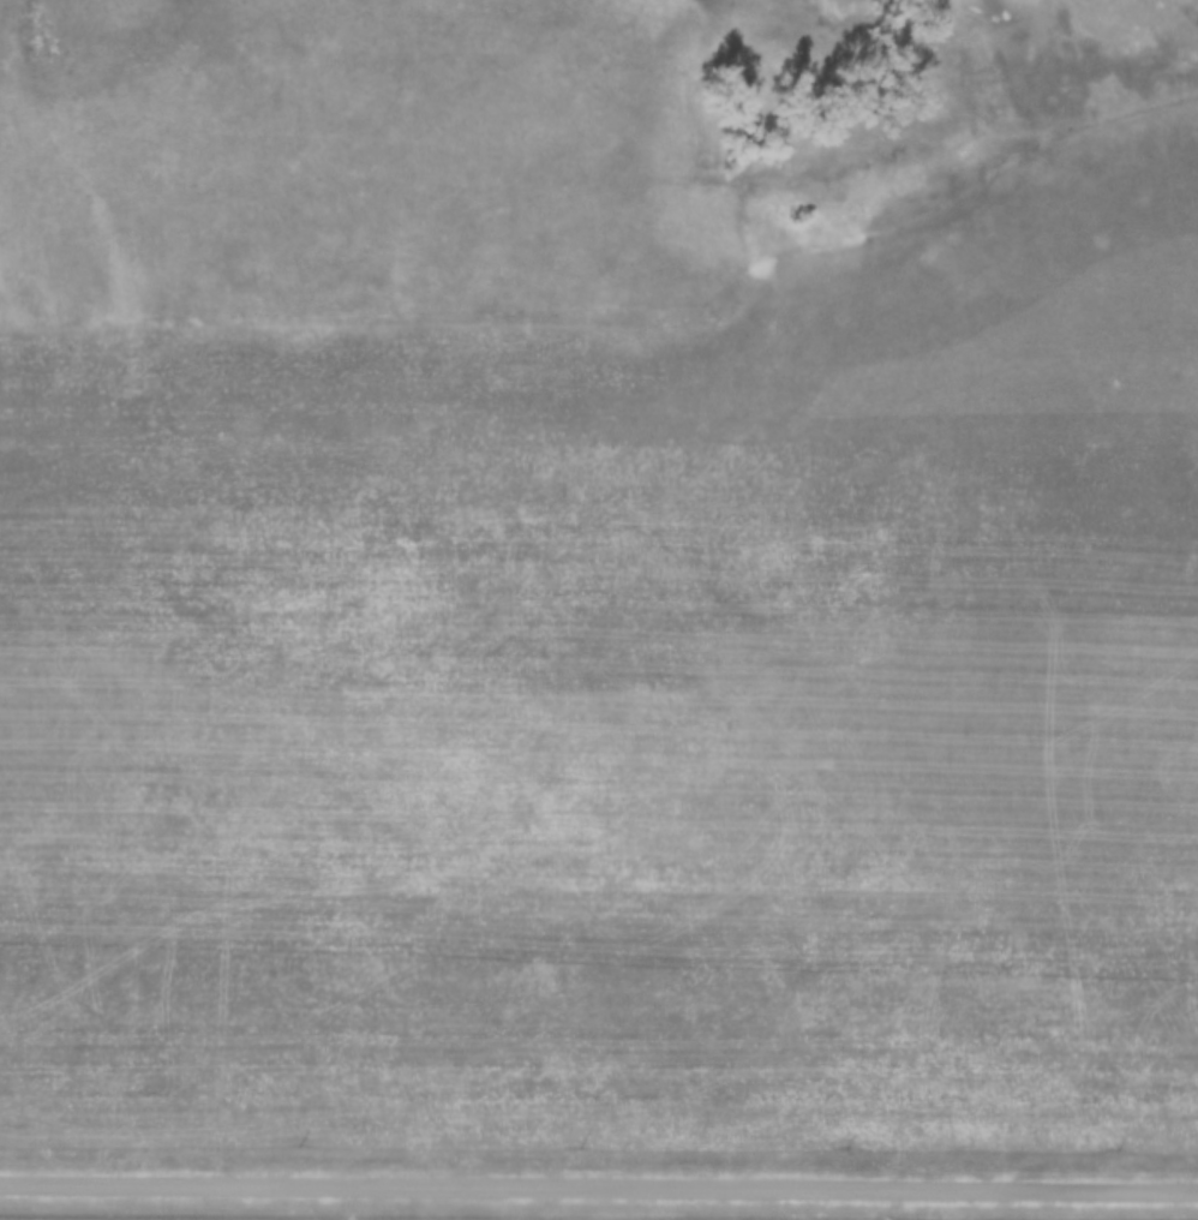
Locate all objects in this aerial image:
road: (598, 1186)

